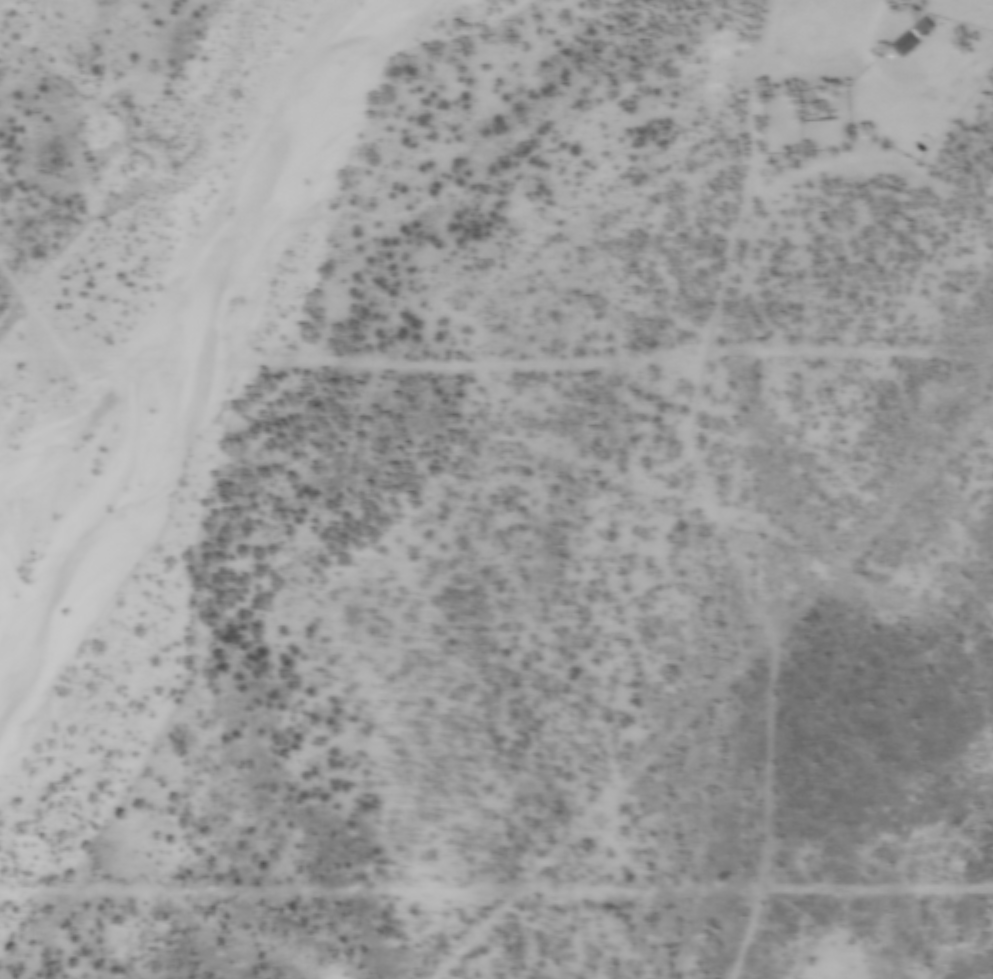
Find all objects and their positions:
building: (910, 36)

